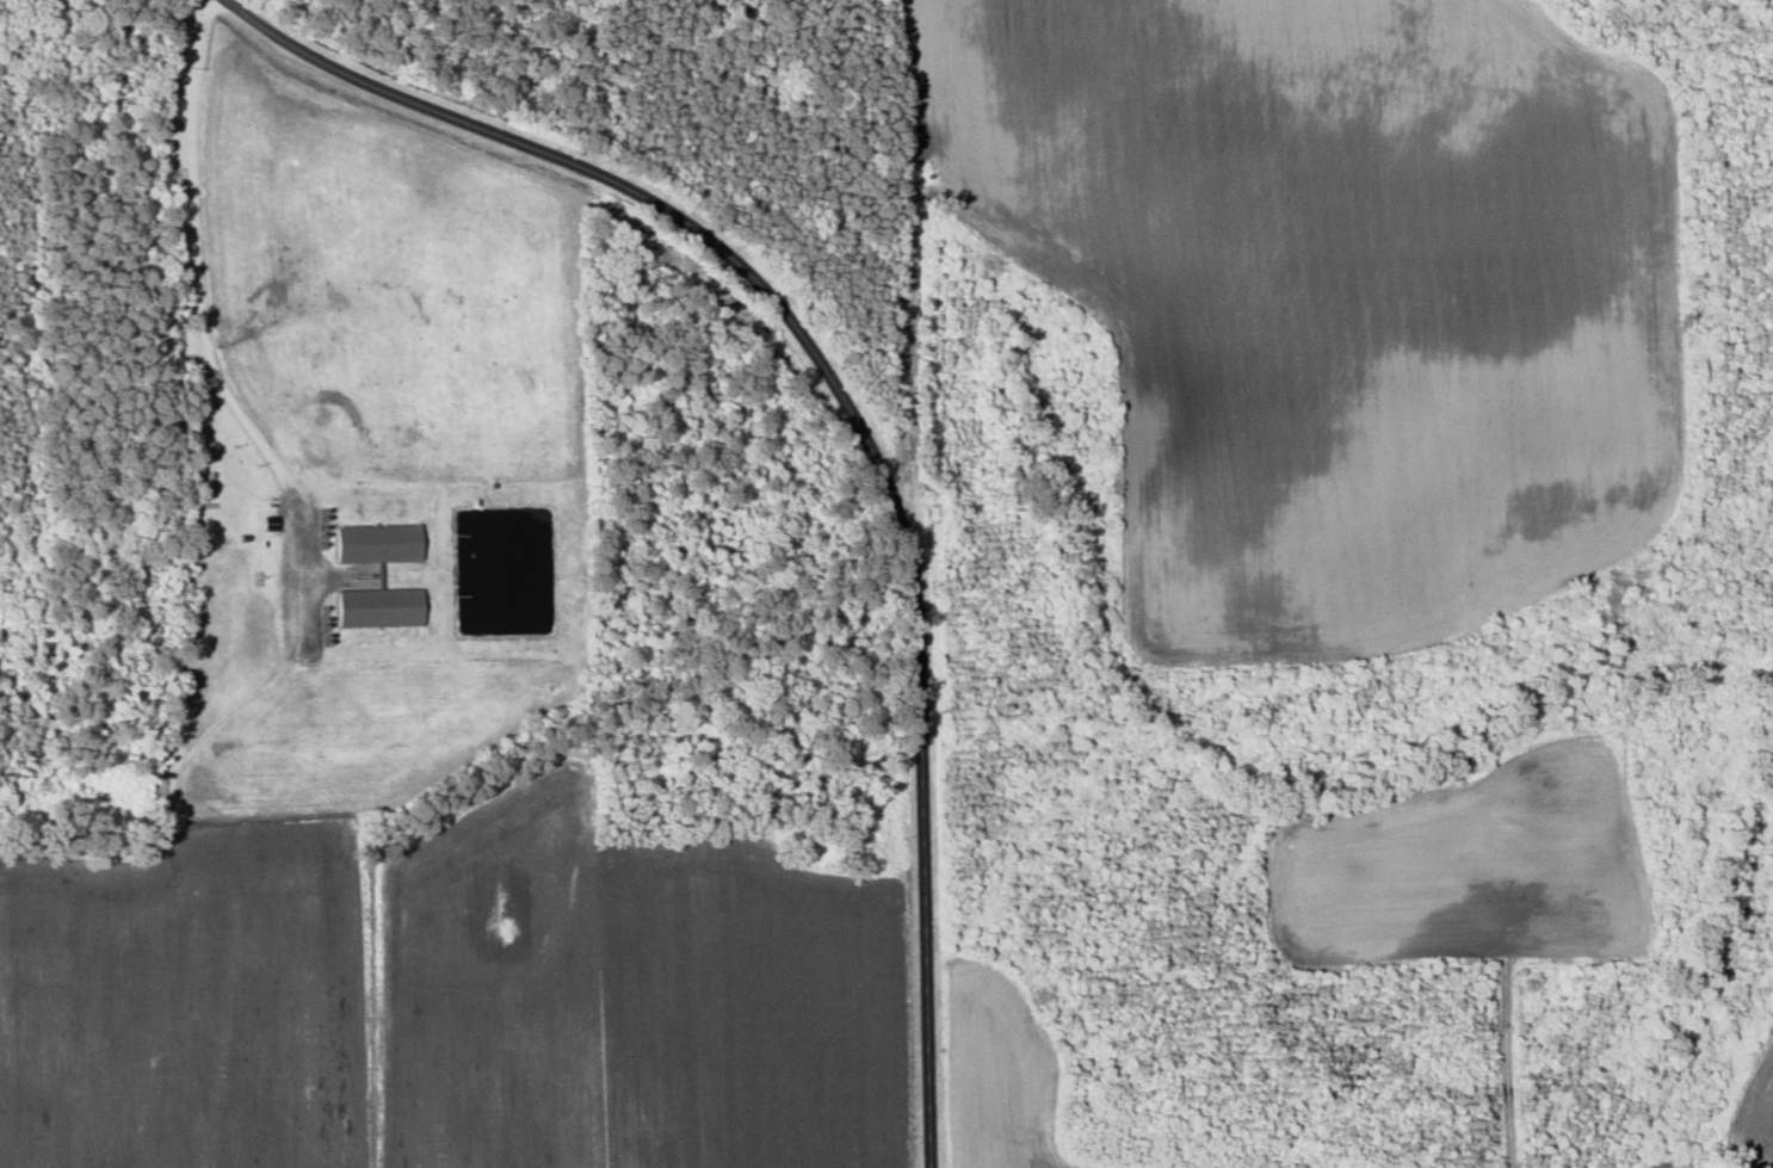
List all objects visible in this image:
road: (846, 415)
building: (375, 543)
building: (375, 607)

